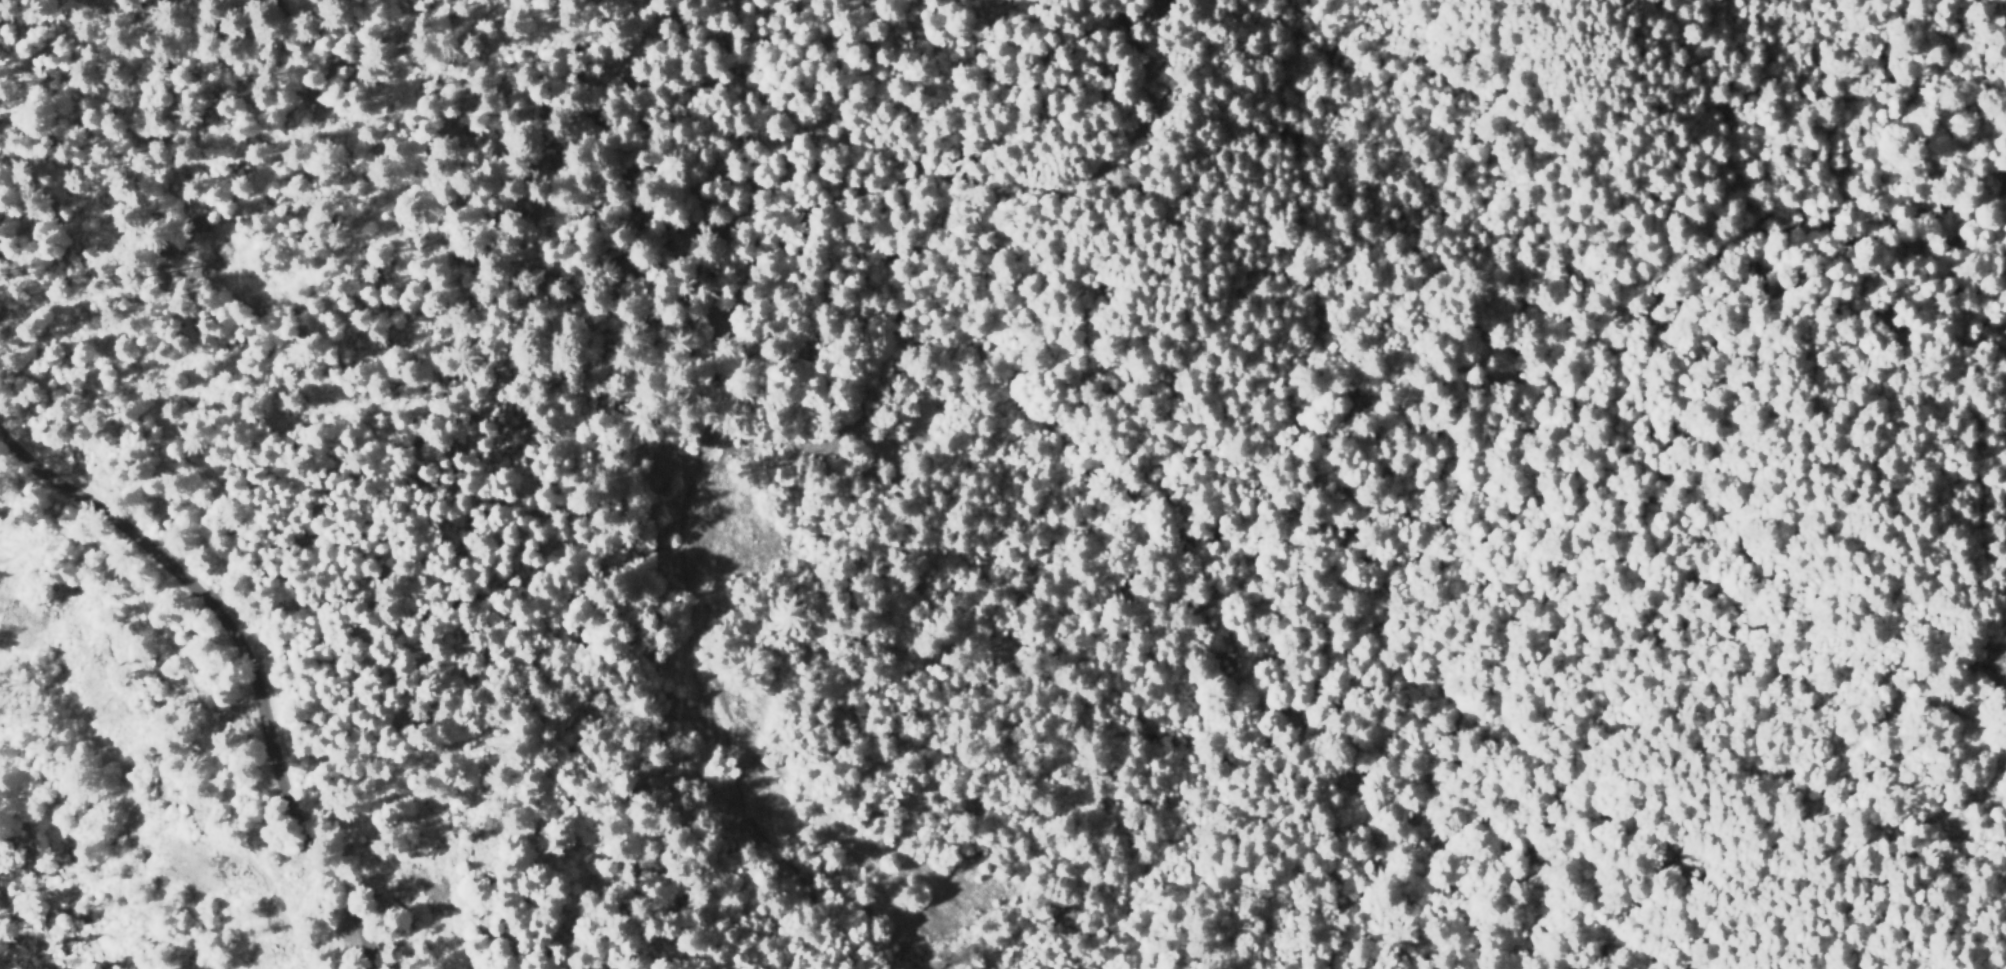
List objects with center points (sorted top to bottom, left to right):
road: (247, 651)

